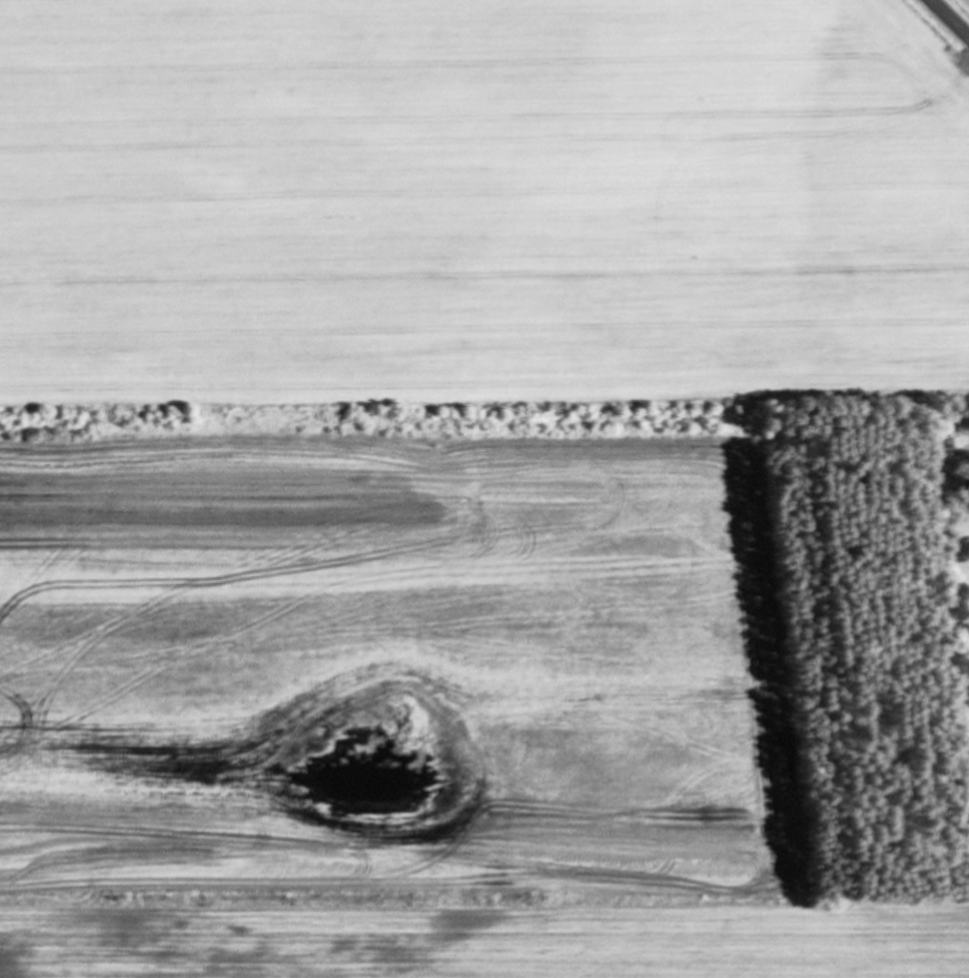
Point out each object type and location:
road: (948, 19)

